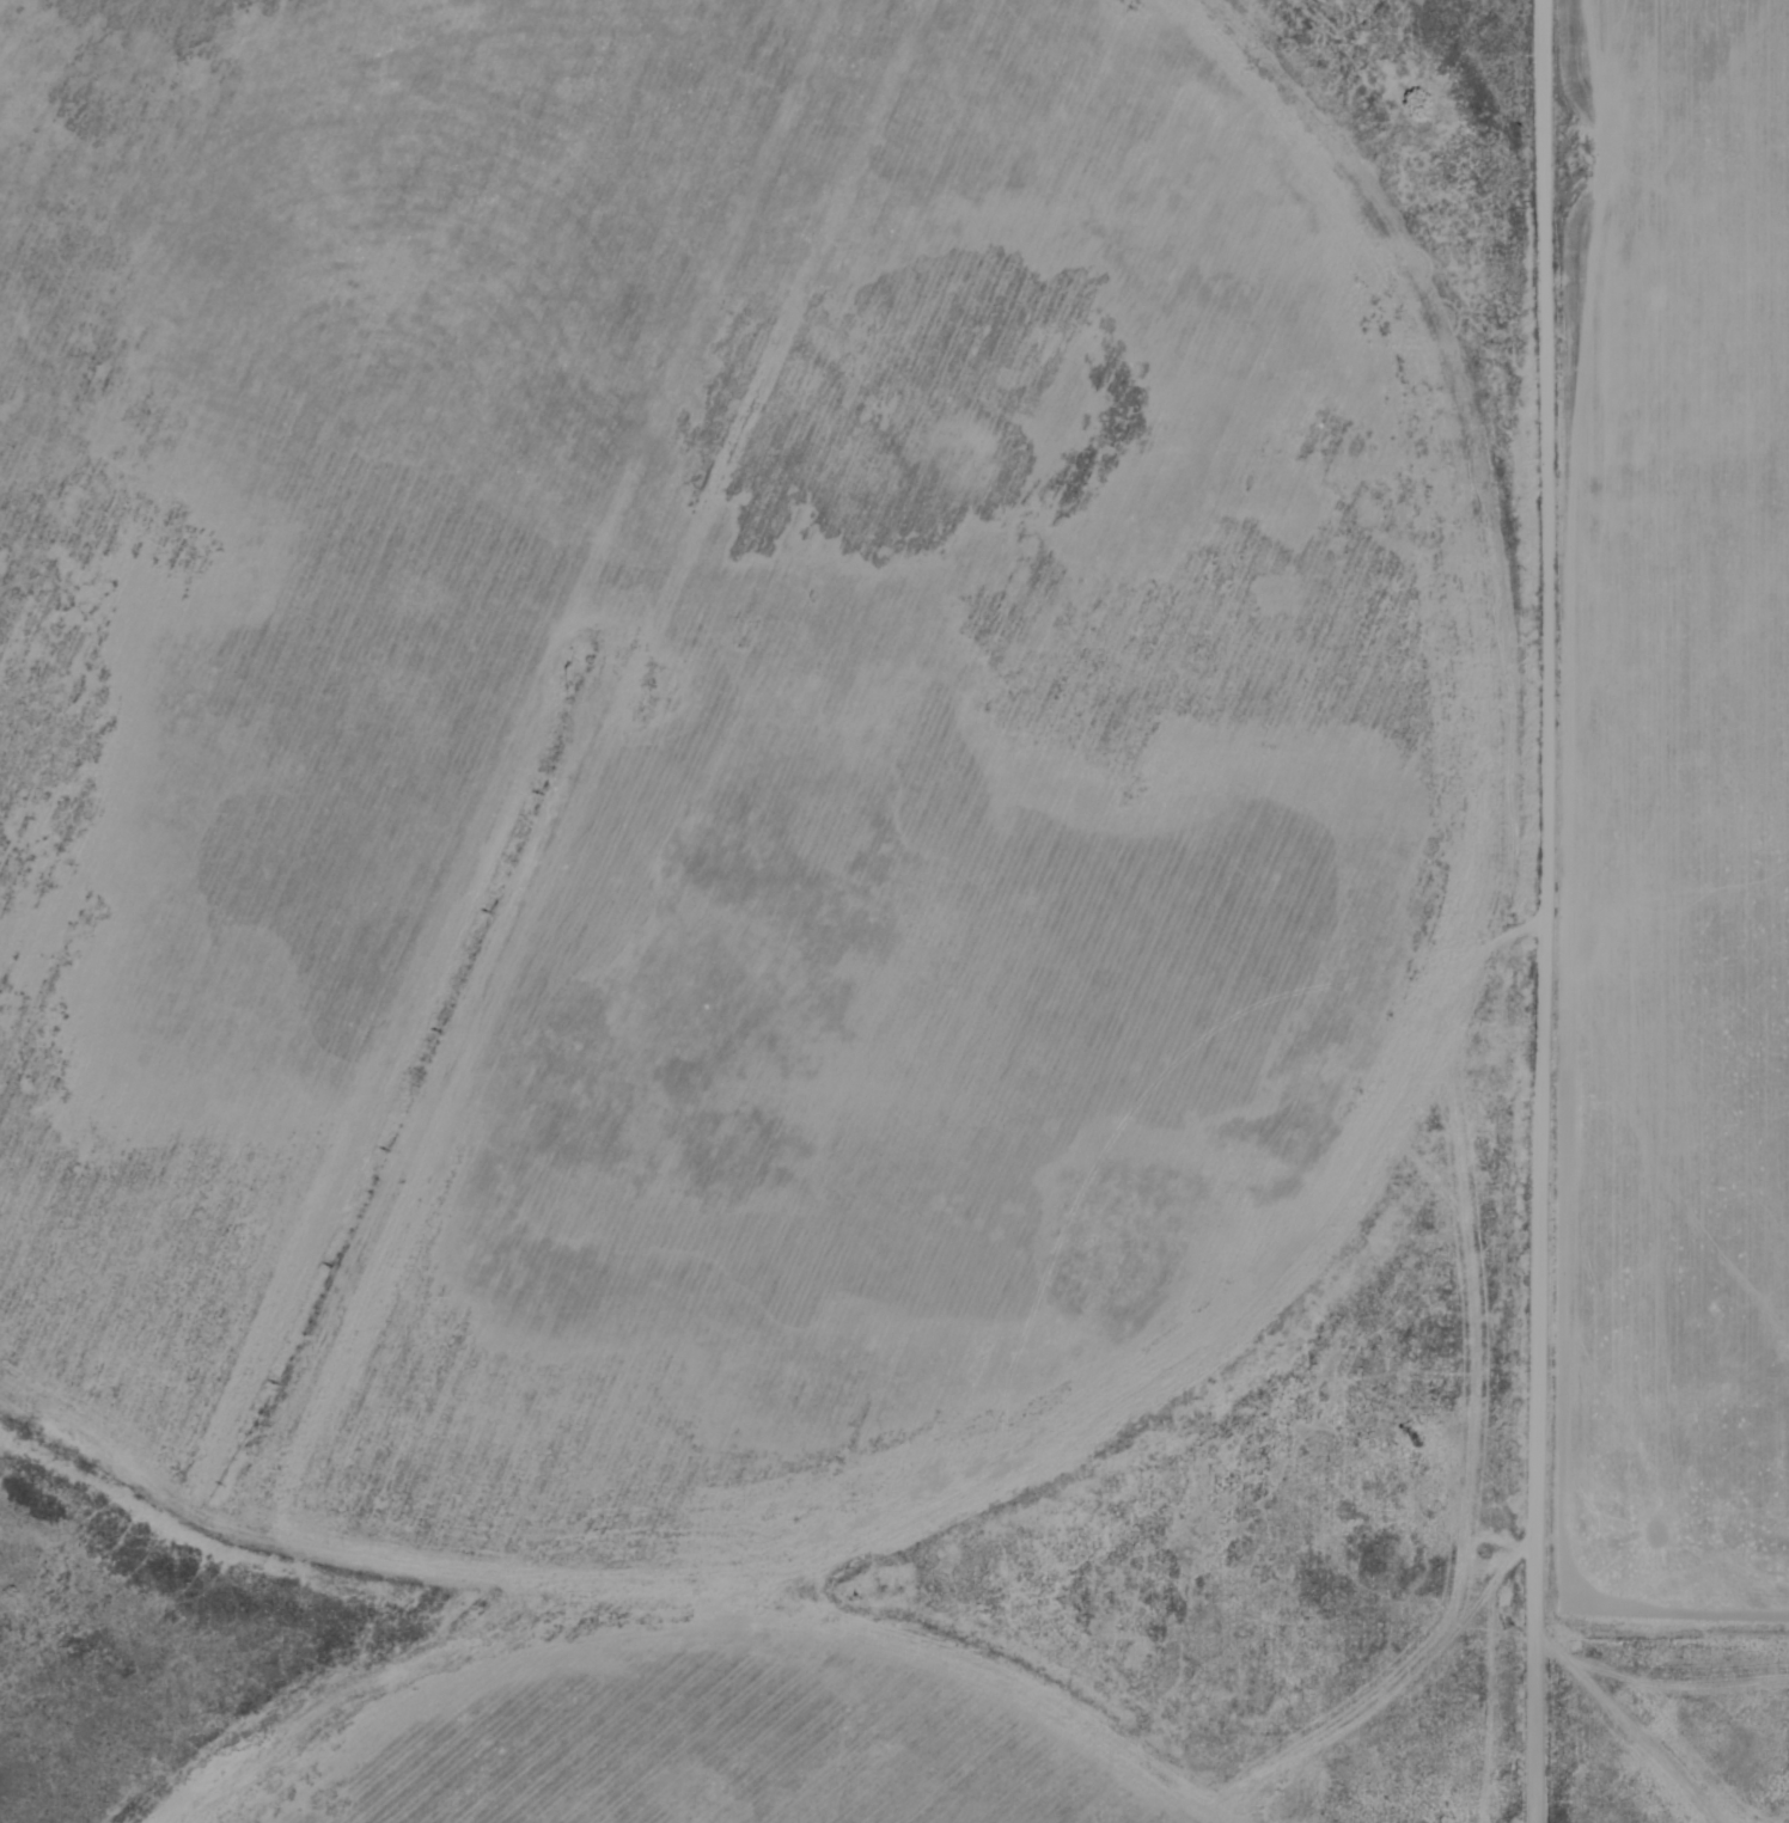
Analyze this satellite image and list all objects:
road: (1541, 911)

